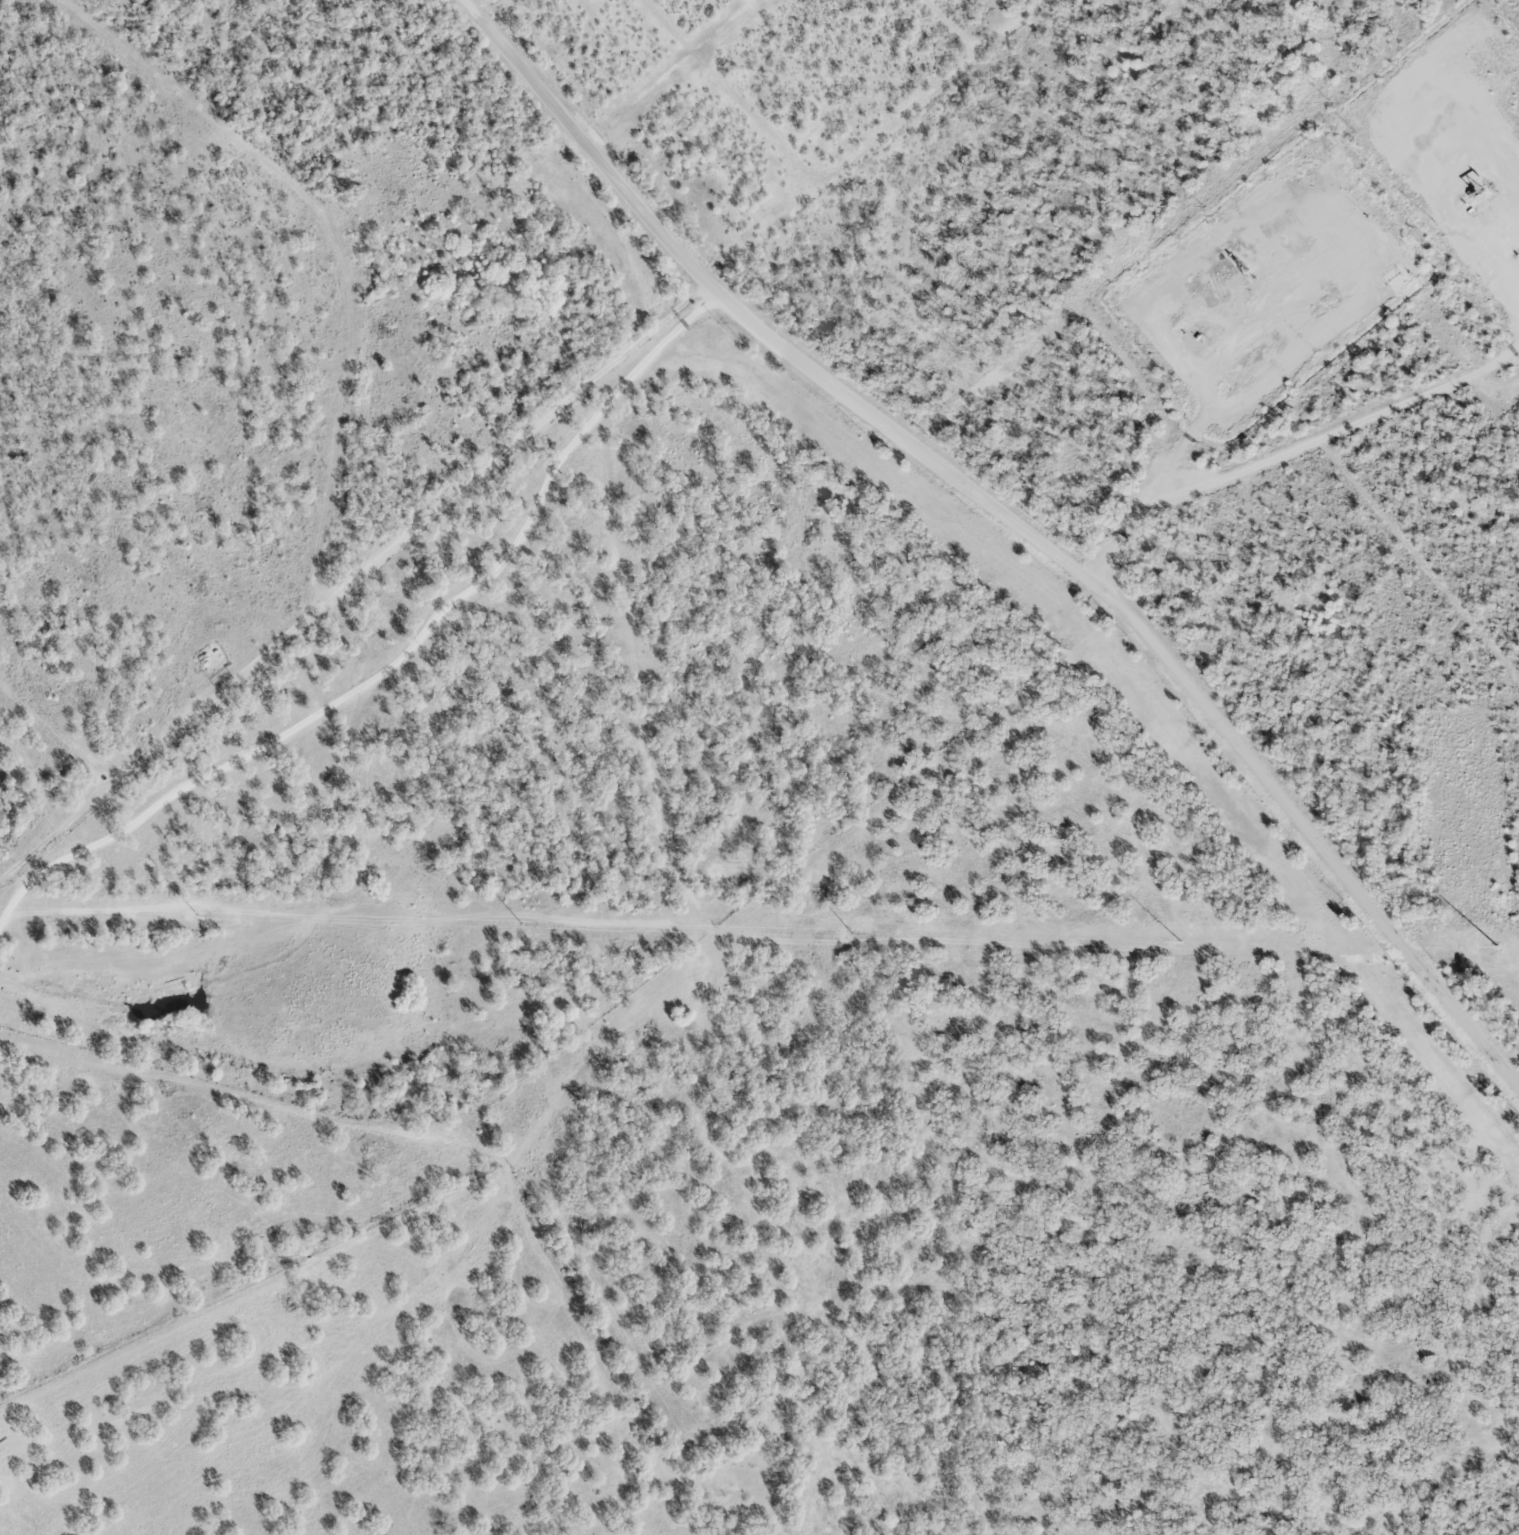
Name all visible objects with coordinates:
road: (1011, 520)
road: (405, 664)
power tower: (194, 914)
power tower: (521, 925)
power tower: (848, 933)
power tower: (1172, 940)
power tower: (1499, 952)

